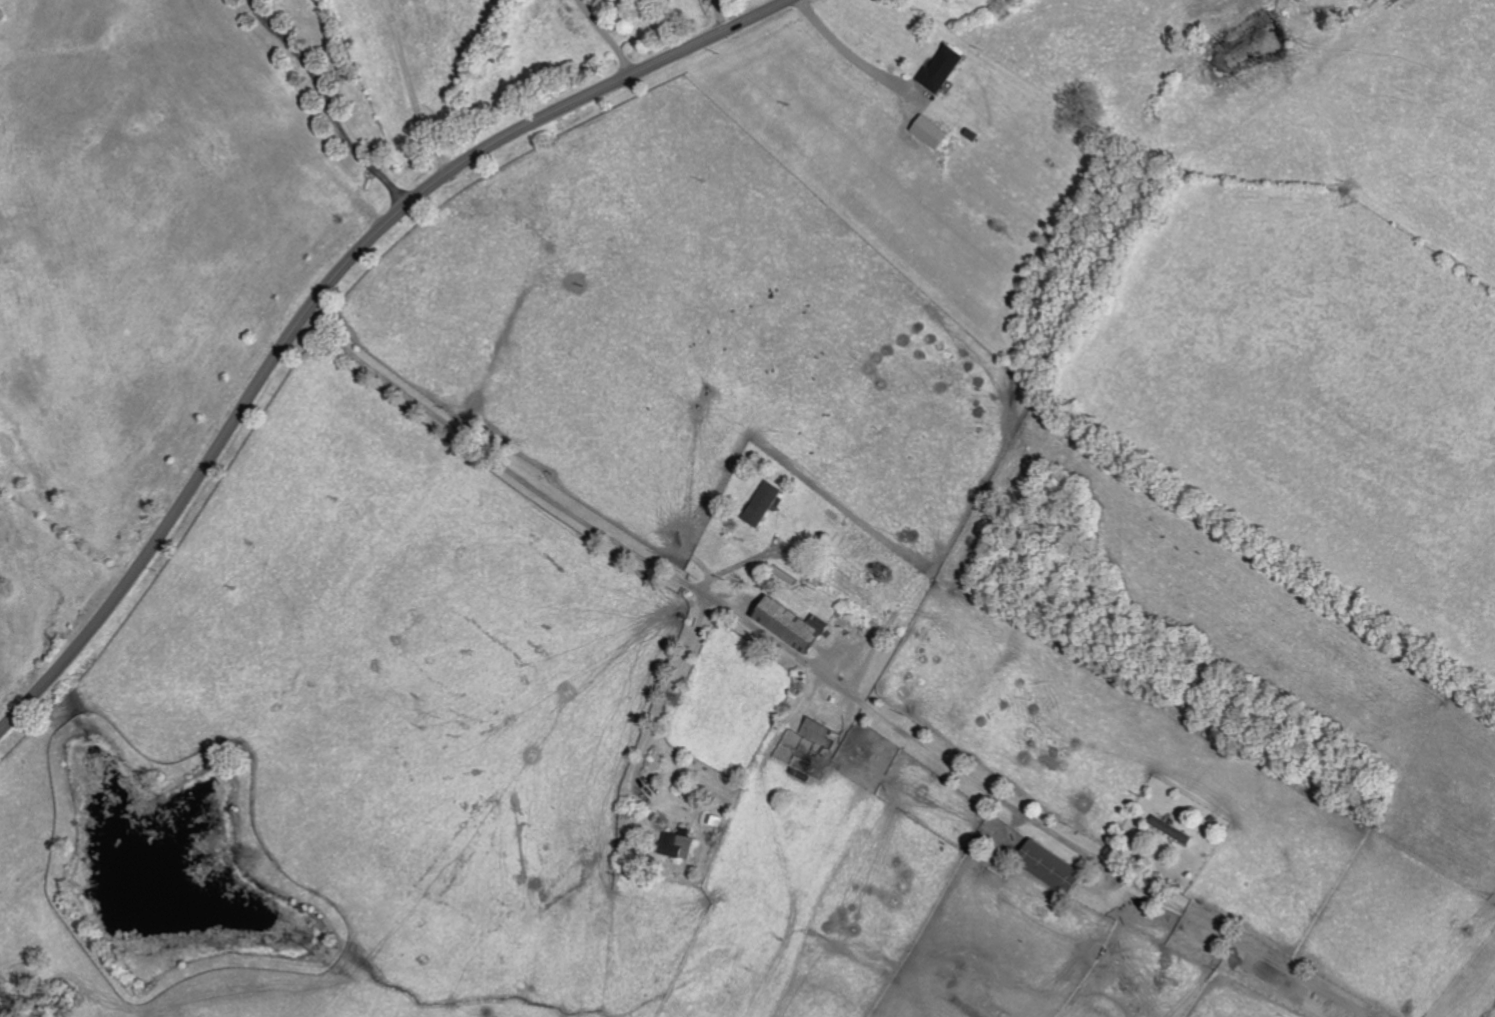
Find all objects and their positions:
road: (838, 49)
building: (942, 67)
road: (409, 90)
road: (328, 103)
road: (324, 288)
building: (763, 503)
road: (729, 566)
road: (727, 613)
building: (818, 621)
building: (789, 624)
road: (664, 695)
building: (816, 731)
building: (1171, 830)
building: (676, 845)
building: (1050, 867)
road: (1254, 952)

